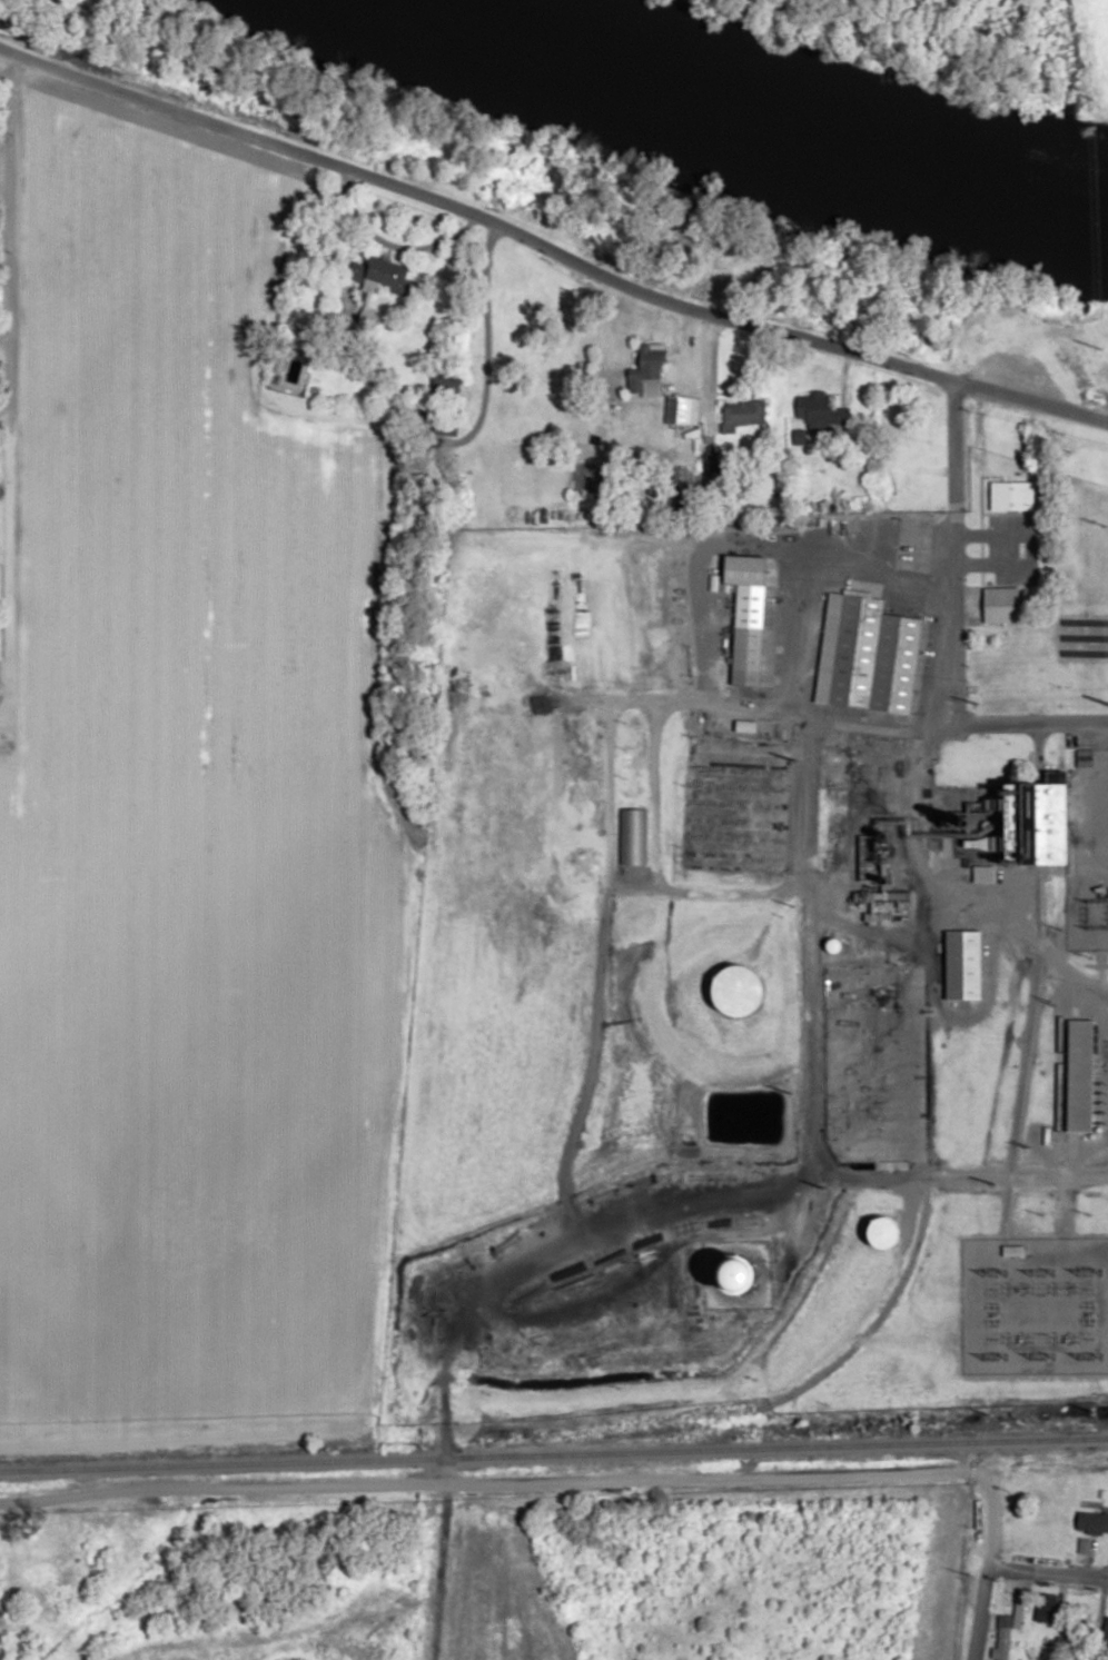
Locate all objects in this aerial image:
river: (798, 101)
road: (3, 151)
road: (429, 200)
building: (390, 278)
building: (646, 368)
building: (446, 385)
road: (982, 390)
building: (682, 410)
building: (819, 412)
building: (743, 414)
building: (446, 426)
building: (679, 477)
building: (1007, 504)
road: (953, 555)
road: (706, 593)
building: (1000, 606)
building: (746, 617)
building: (873, 656)
road: (771, 707)
building: (1084, 757)
crop: (185, 818)
building: (1048, 825)
building: (631, 837)
building: (981, 874)
building: (962, 963)
building: (736, 988)
building: (1077, 1072)
road: (803, 1087)
building: (686, 1135)
building: (882, 1231)
water tower: (741, 1273)
power substation: (1032, 1304)
railway: (840, 1356)
railway: (554, 1454)
road: (530, 1480)
building: (1091, 1522)
road: (1045, 1567)
road: (973, 1608)
building: (1043, 1609)
building: (1008, 1623)
building: (1105, 1630)

